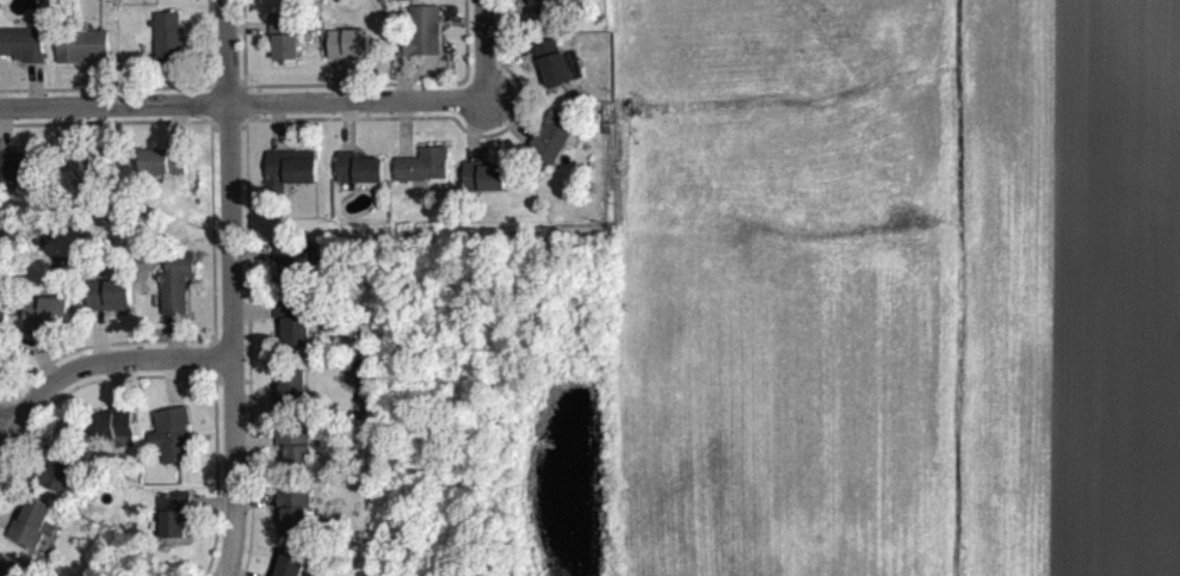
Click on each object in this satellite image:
building: (165, 1)
building: (418, 2)
building: (285, 4)
building: (543, 7)
building: (425, 45)
building: (167, 50)
road: (474, 51)
building: (284, 52)
building: (21, 57)
building: (82, 60)
building: (549, 60)
building: (558, 83)
road: (237, 109)
building: (551, 151)
building: (162, 174)
building: (294, 180)
building: (424, 180)
building: (360, 182)
building: (486, 190)
building: (292, 279)
road: (227, 287)
building: (177, 297)
building: (110, 309)
building: (45, 324)
building: (295, 336)
building: (5, 340)
road: (100, 361)
building: (113, 436)
building: (174, 448)
building: (295, 454)
building: (61, 489)
building: (175, 529)
building: (294, 533)
building: (32, 537)
building: (291, 571)

